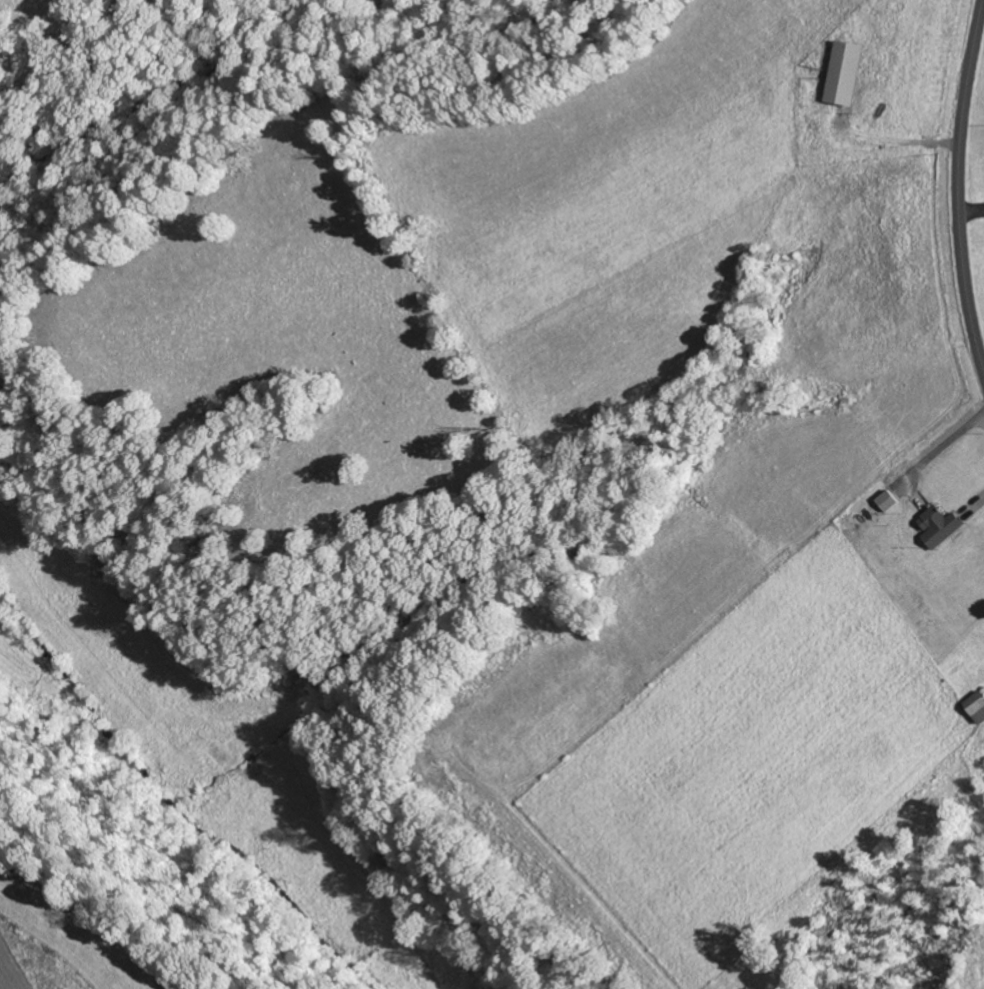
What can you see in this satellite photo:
building: (849, 72)
road: (959, 186)
building: (891, 501)
building: (943, 526)
building: (978, 706)

